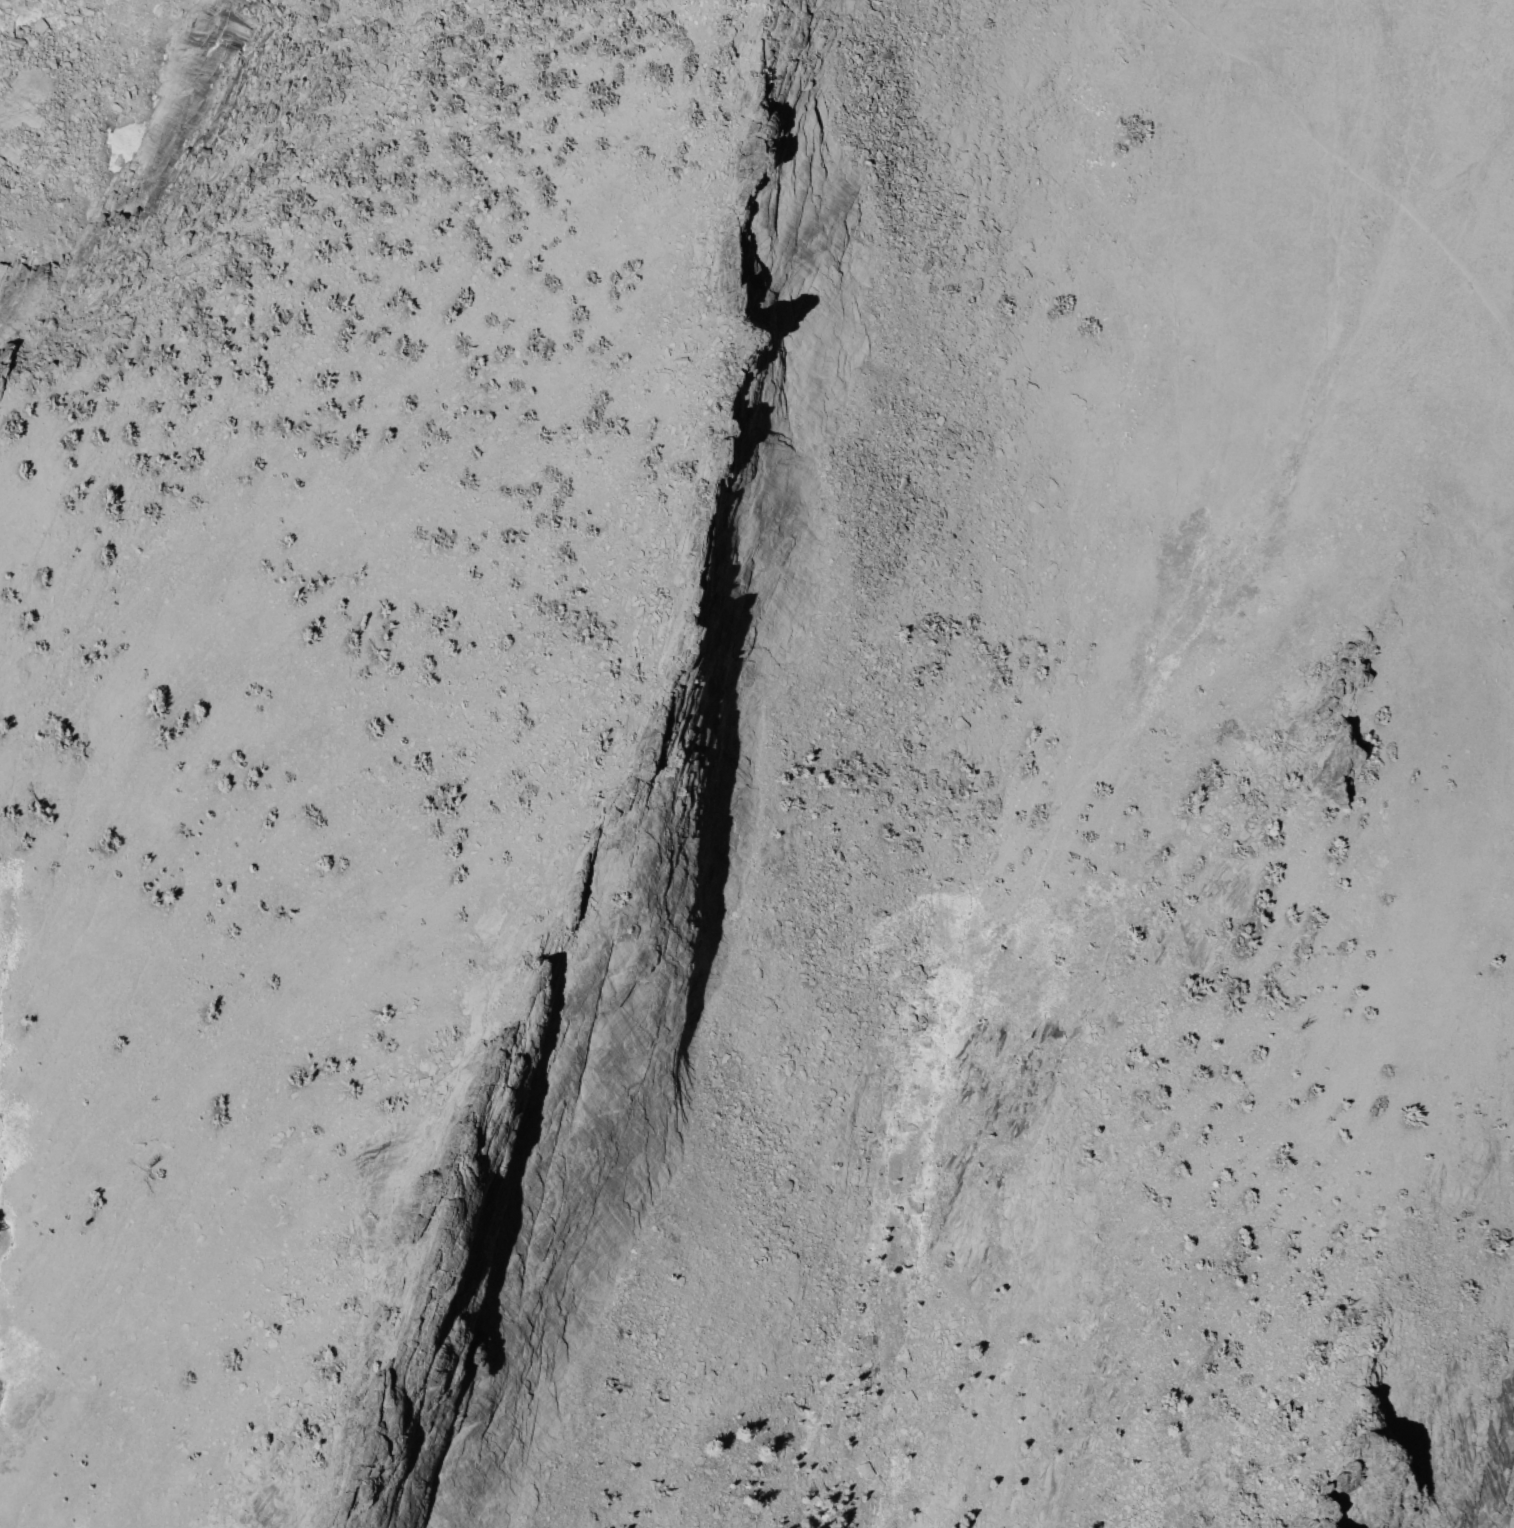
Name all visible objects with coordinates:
road: (1347, 160)

